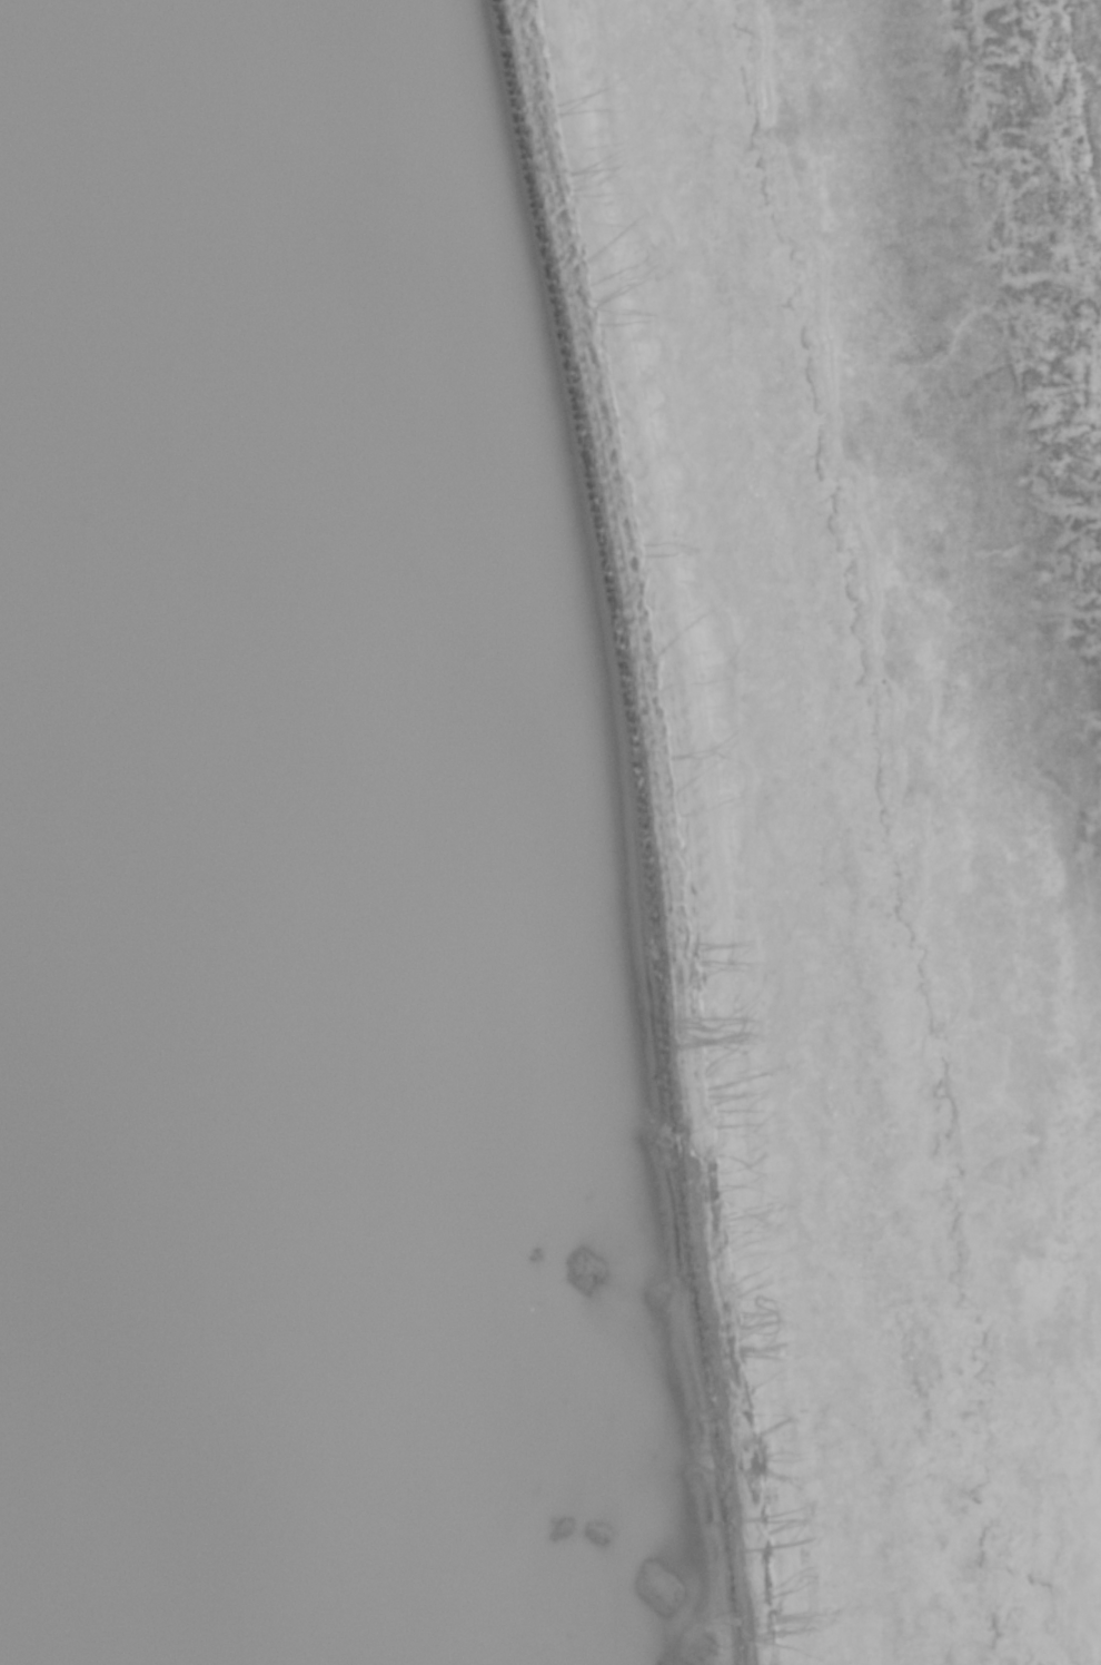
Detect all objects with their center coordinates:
road: (907, 831)

